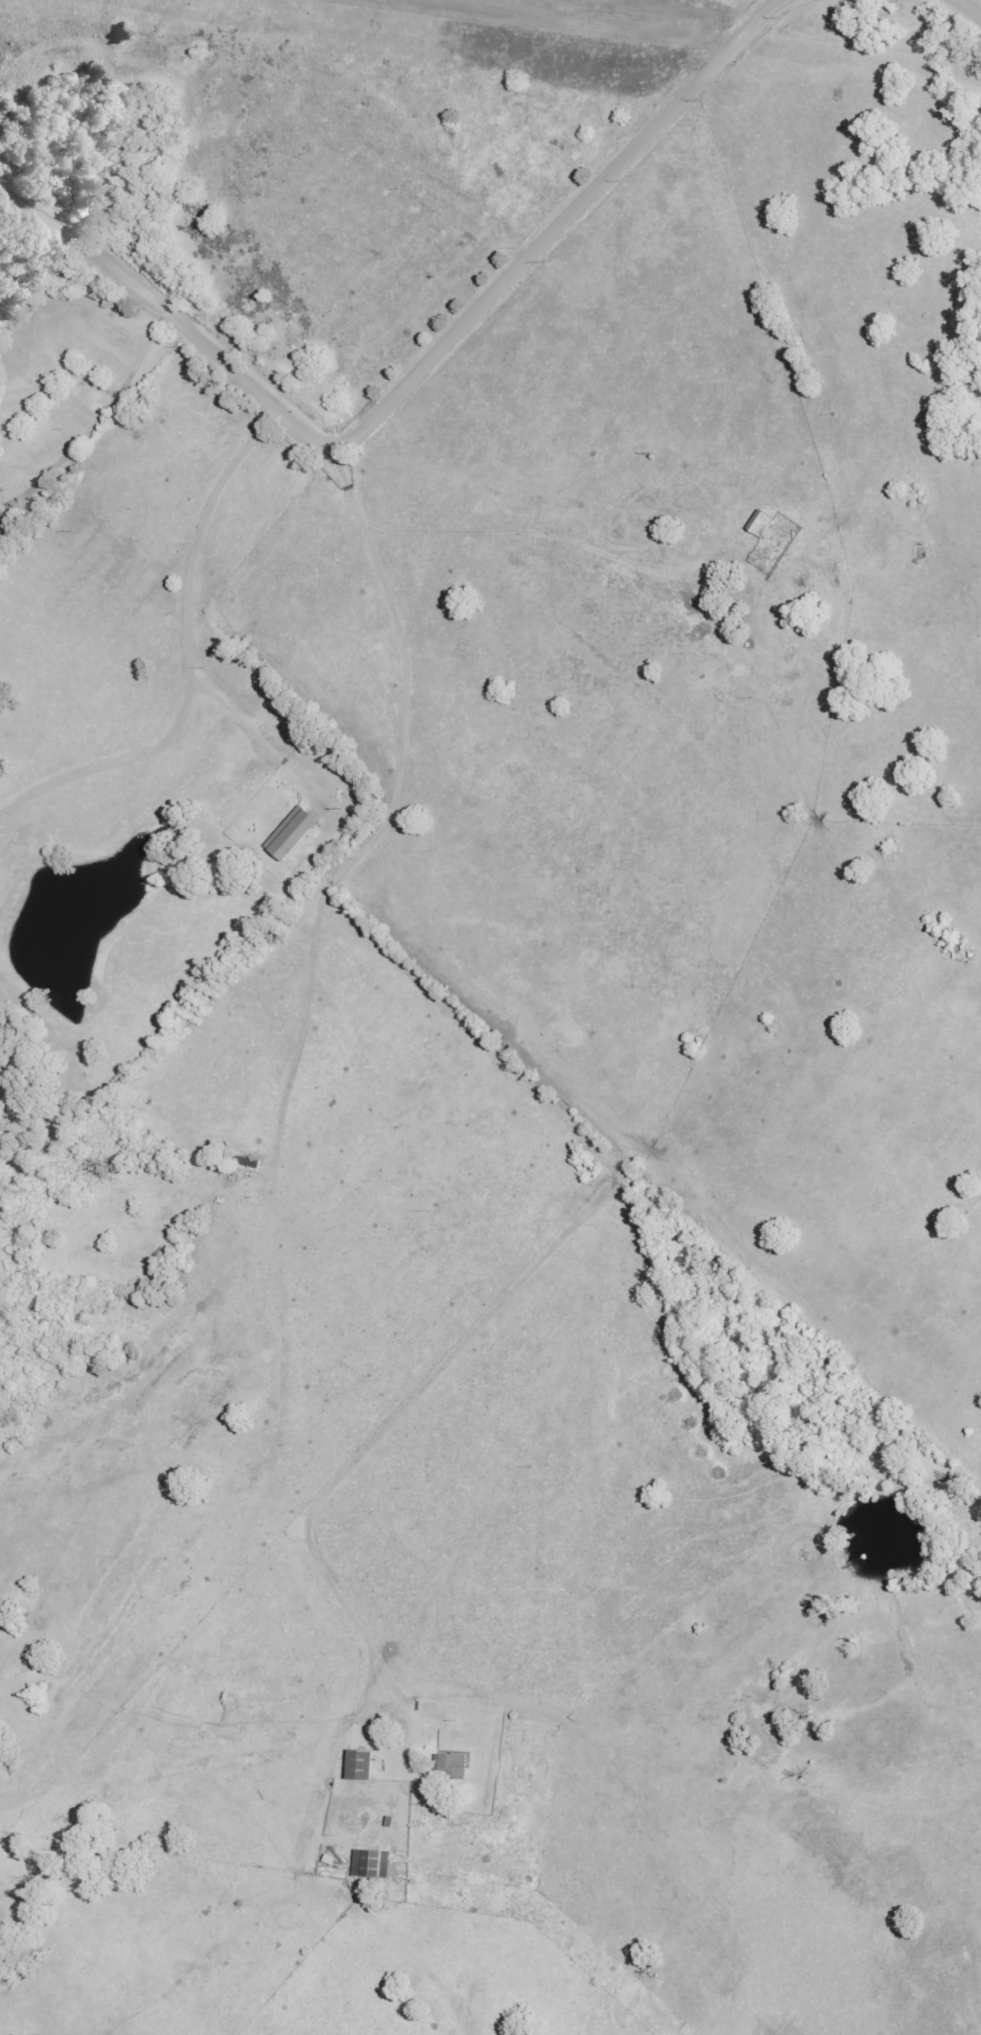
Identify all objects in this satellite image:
road: (973, 5)
road: (414, 375)
road: (110, 396)
building: (761, 523)
building: (2, 526)
road: (189, 646)
building: (293, 833)
building: (361, 1764)
building: (452, 1766)
building: (373, 1863)

